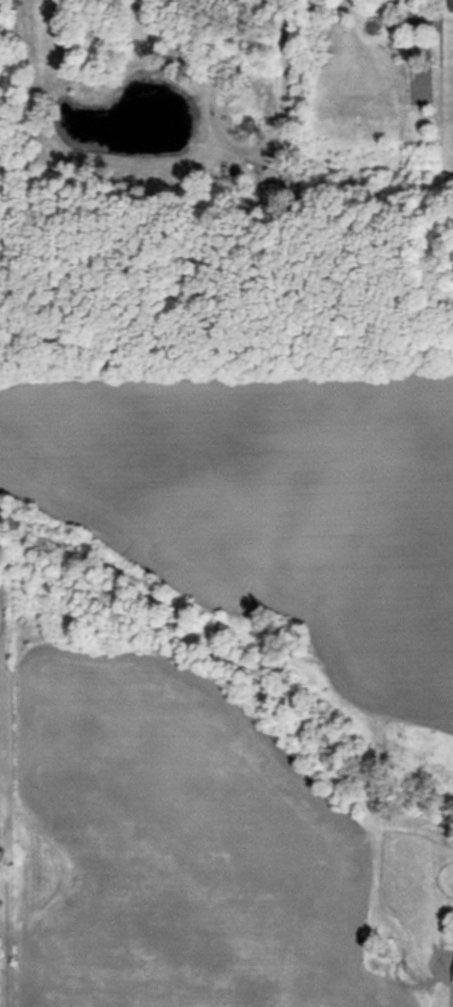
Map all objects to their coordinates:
building: (452, 979)

